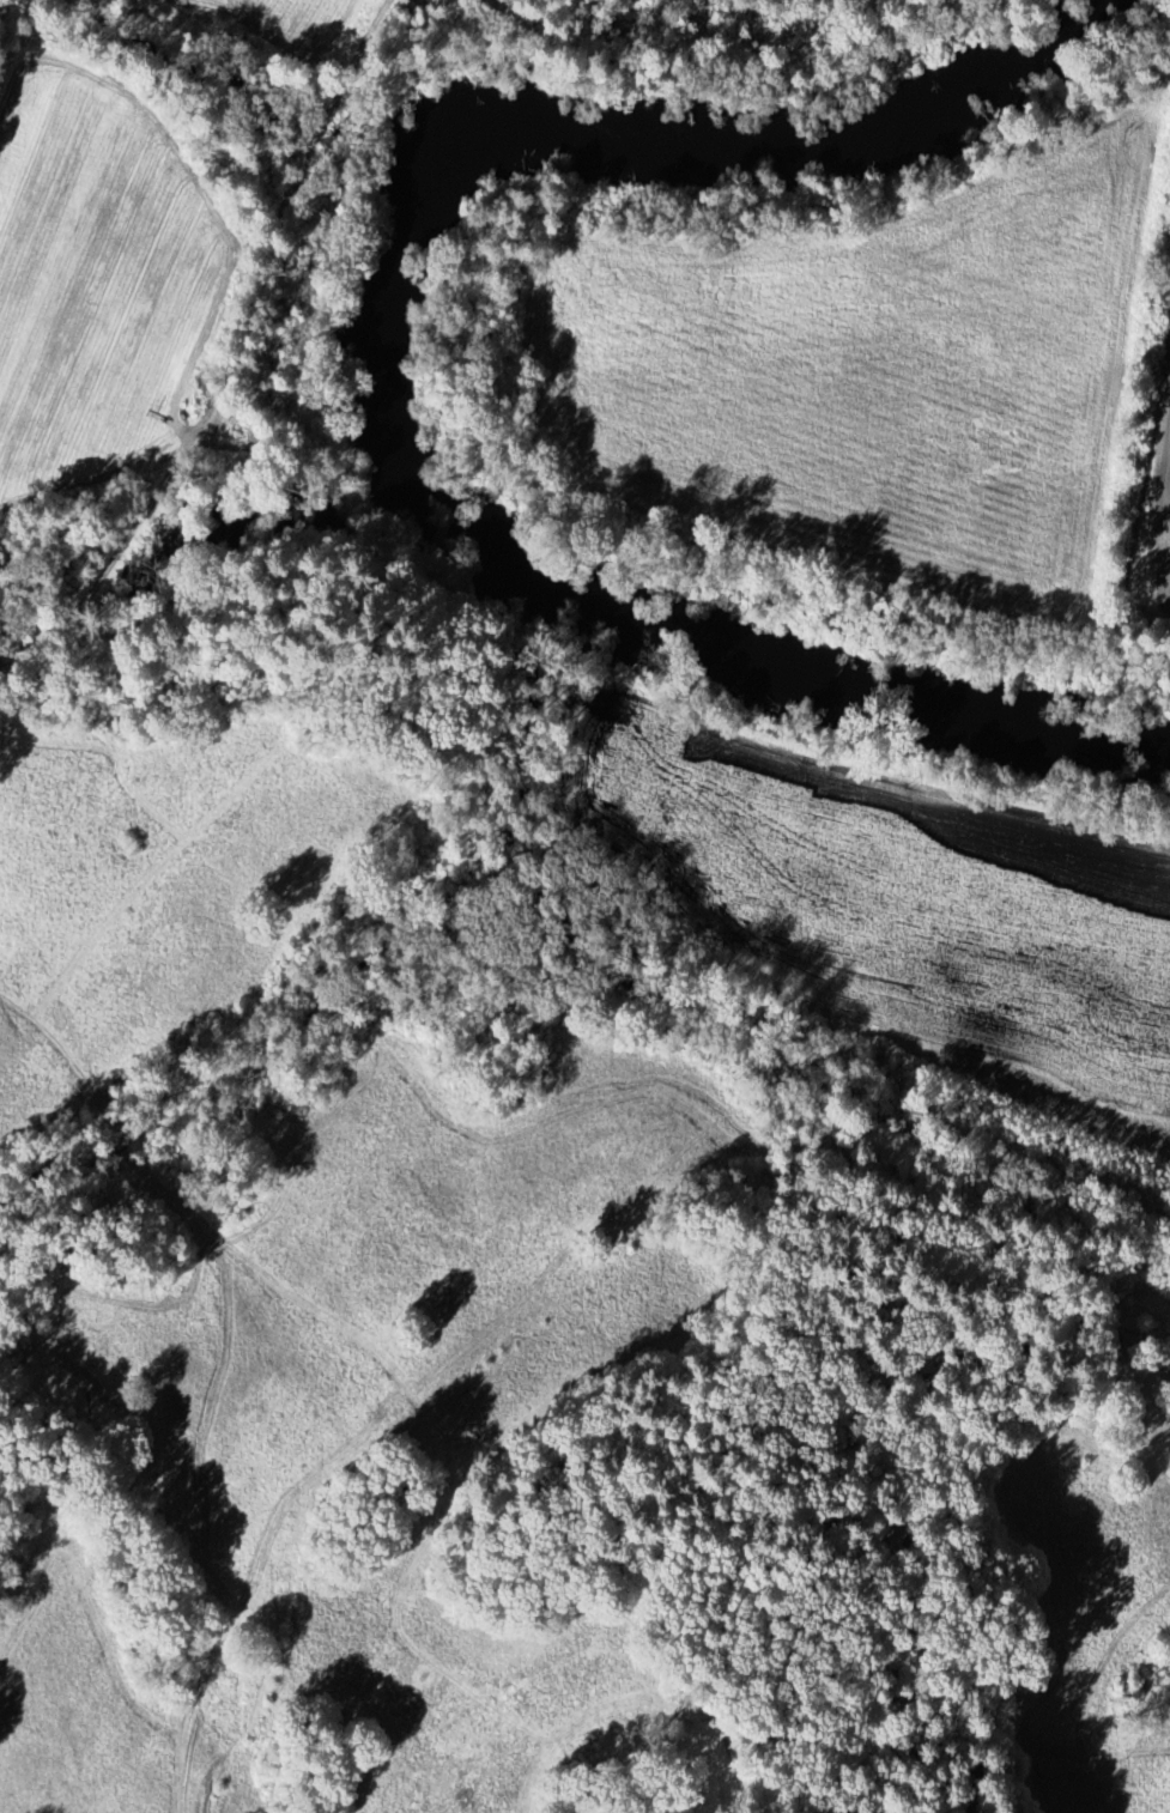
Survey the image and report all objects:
river: (784, 145)
river: (387, 328)
river: (456, 539)
river: (837, 675)

